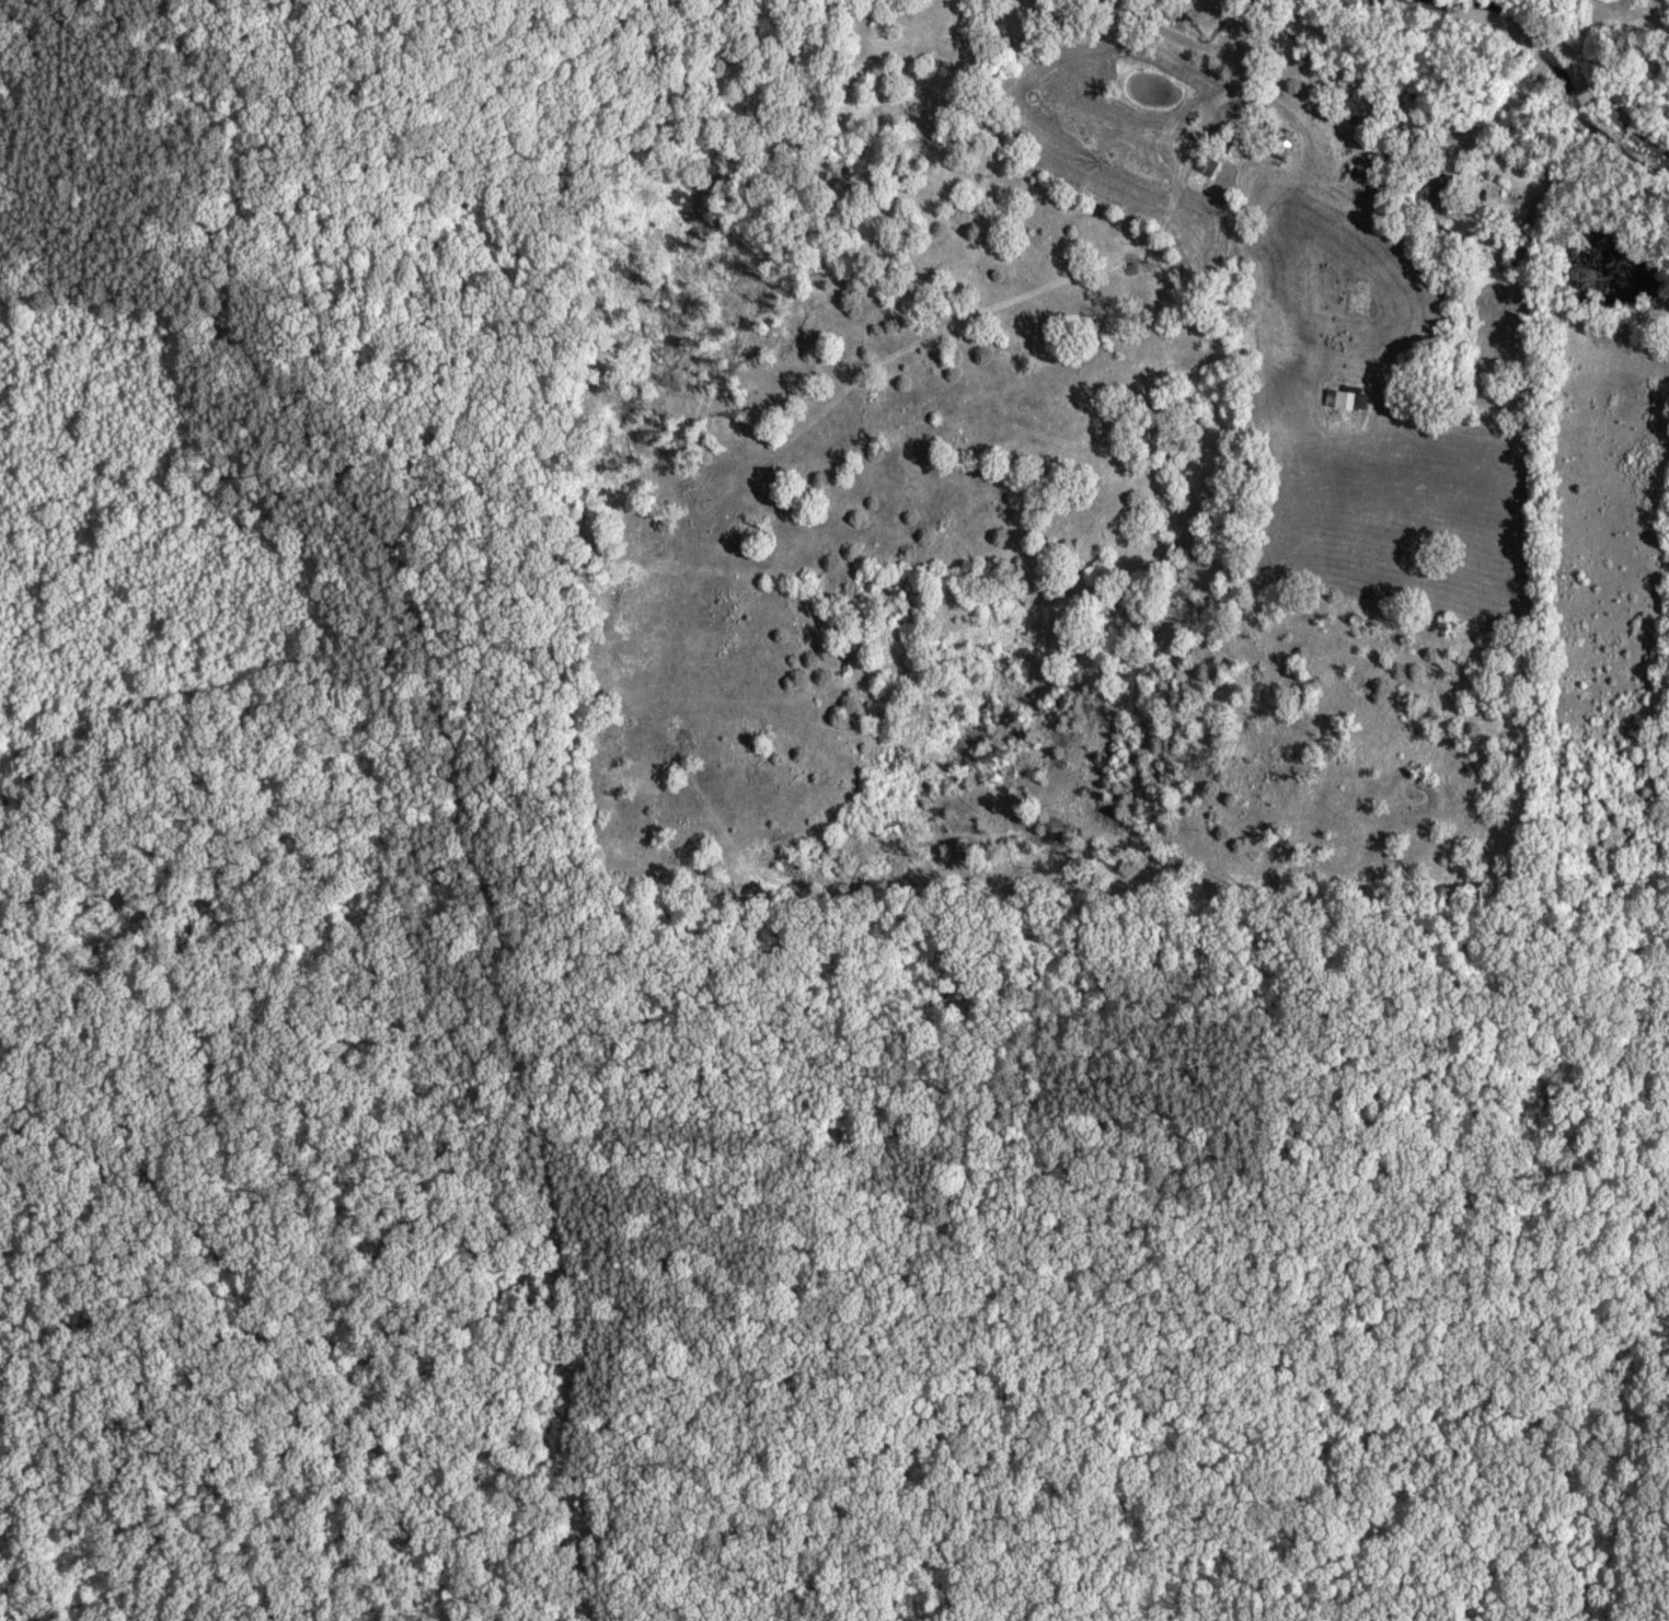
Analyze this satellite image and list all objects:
road: (1516, 176)
road: (289, 461)
road: (560, 1248)

